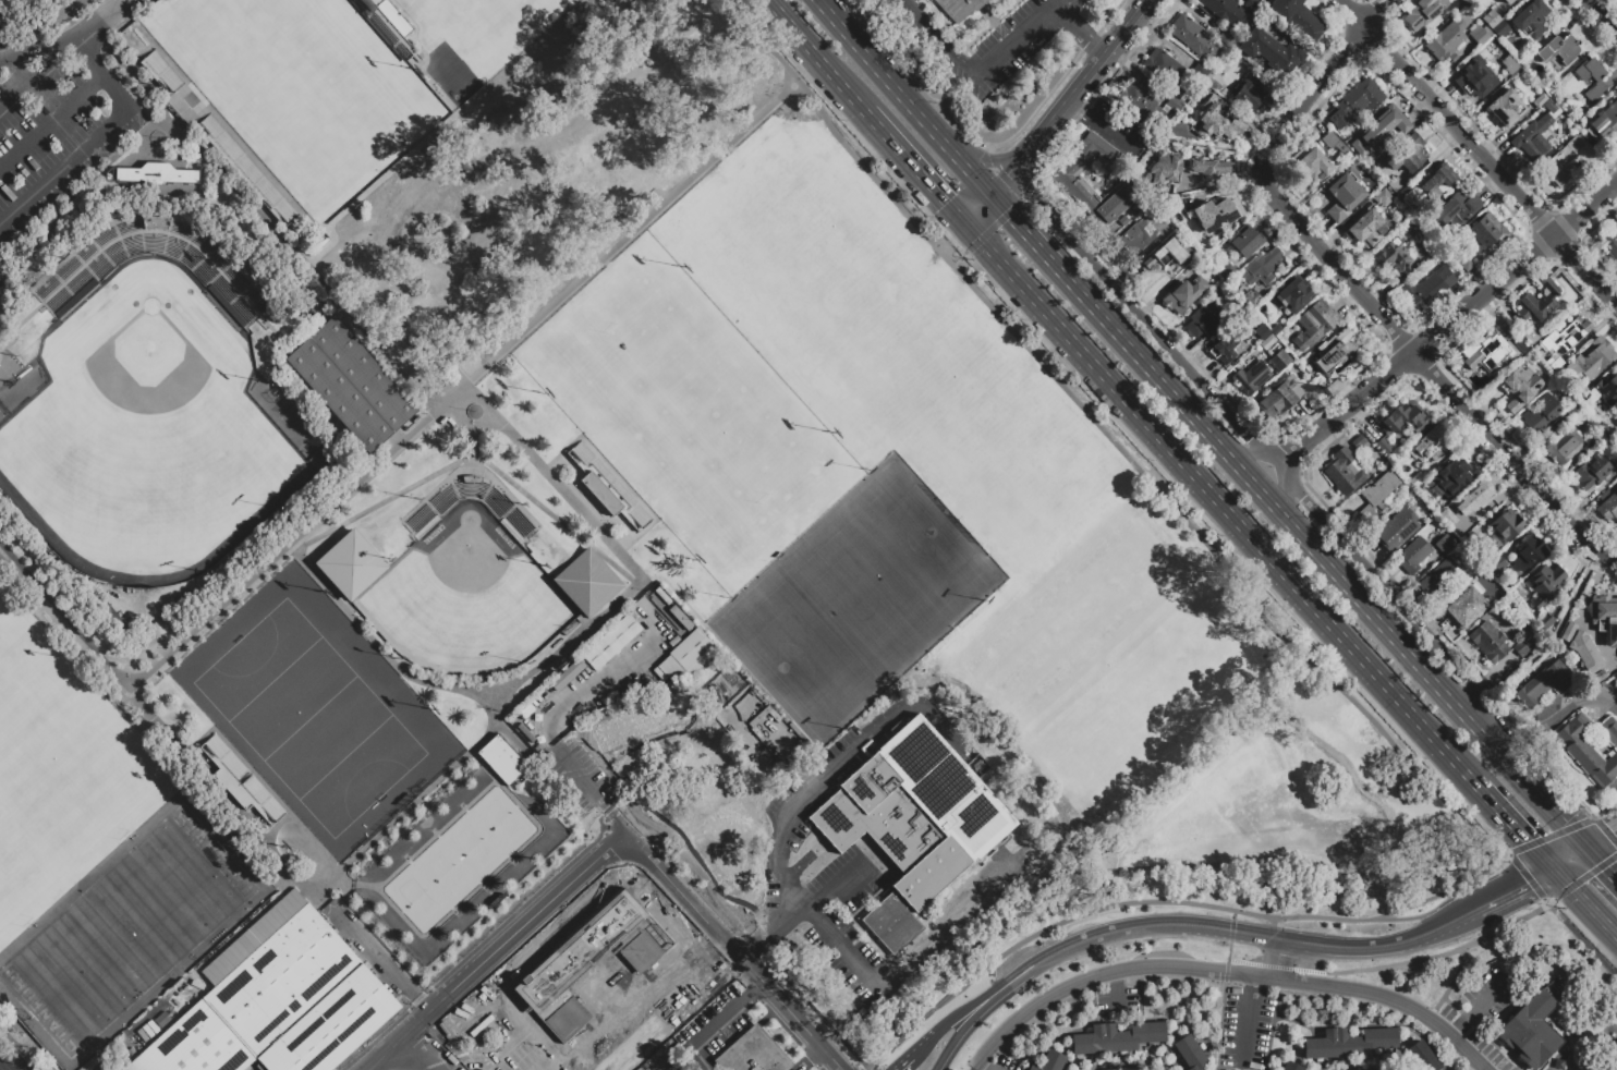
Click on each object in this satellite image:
road: (1056, 0)
building: (1506, 1)
building: (1252, 7)
building: (959, 9)
building: (1224, 11)
building: (1422, 12)
road: (1374, 13)
road: (1601, 16)
building: (1298, 17)
building: (1264, 19)
building: (1530, 19)
park: (508, 20)
road: (101, 23)
building: (1495, 23)
road: (1079, 26)
building: (386, 27)
building: (1480, 35)
building: (1192, 36)
building: (1447, 37)
road: (940, 38)
road: (1017, 39)
building: (1558, 49)
road: (37, 50)
building: (1269, 51)
road: (814, 57)
building: (1452, 57)
road: (1336, 63)
building: (1509, 64)
building: (1166, 69)
building: (1200, 70)
road: (1083, 74)
road: (883, 75)
road: (38, 78)
road: (102, 78)
building: (1476, 78)
building: (1596, 81)
park: (297, 84)
building: (1249, 93)
stadium: (291, 95)
building: (1539, 100)
building: (1354, 101)
building: (1146, 104)
building: (1549, 106)
building: (1505, 108)
building: (1604, 120)
building: (1216, 121)
road: (51, 123)
road: (1097, 124)
road: (1284, 129)
building: (1389, 130)
parking lot: (50, 136)
building: (1532, 136)
road: (1159, 139)
building: (1354, 139)
building: (1333, 142)
road: (1479, 153)
building: (1408, 154)
road: (1021, 155)
road: (983, 158)
building: (1563, 162)
building: (1312, 163)
road: (1013, 165)
road: (913, 168)
building: (1166, 168)
building: (1207, 168)
road: (64, 169)
road: (970, 172)
traffic signals: (1007, 173)
building: (157, 179)
road: (1000, 181)
road: (1020, 181)
building: (1436, 181)
building: (1396, 184)
building: (1078, 187)
building: (1403, 194)
building: (1344, 196)
building: (1383, 197)
road: (252, 203)
traffic signals: (945, 204)
road: (976, 208)
road: (1285, 209)
building: (1456, 209)
building: (1217, 214)
traffic signals: (1011, 216)
building: (1153, 216)
building: (1122, 221)
building: (1401, 221)
building: (1366, 227)
road: (1022, 229)
road: (949, 234)
building: (1486, 234)
building: (1134, 236)
building: (1248, 241)
building: (1610, 241)
building: (1426, 247)
building: (1166, 254)
building: (1393, 255)
building: (1464, 263)
building: (1262, 267)
building: (1229, 272)
building: (74, 282)
building: (1, 285)
building: (1428, 288)
building: (1293, 294)
building: (1182, 296)
building: (1251, 297)
building: (1539, 302)
road: (1369, 303)
road: (1140, 315)
building: (1204, 319)
building: (1314, 324)
road: (1447, 324)
building: (1275, 328)
building: (1262, 330)
building: (1530, 336)
building: (1566, 336)
building: (1230, 339)
building: (1267, 341)
building: (1520, 344)
building: (1334, 350)
building: (1488, 352)
building: (1592, 358)
building: (1279, 360)
building: (1553, 362)
building: (435, 366)
building: (1250, 377)
road: (470, 384)
building: (353, 386)
building: (1520, 387)
building: (1607, 389)
building: (1279, 397)
stadium: (148, 401)
building: (1573, 411)
park: (689, 412)
building: (1540, 414)
building: (1602, 417)
stadium: (681, 418)
building: (1406, 418)
building: (1581, 418)
building: (1616, 421)
park: (148, 423)
road: (469, 424)
building: (1596, 435)
road: (1109, 436)
building: (1360, 441)
road: (475, 442)
building: (1383, 446)
building: (1427, 446)
building: (1564, 446)
road: (1169, 449)
road: (1506, 455)
road: (1252, 457)
building: (1371, 459)
building: (1616, 461)
road: (1279, 464)
building: (1345, 471)
building: (1591, 471)
building: (1454, 476)
building: (1415, 479)
park: (994, 481)
building: (607, 487)
road: (1260, 487)
road: (1280, 488)
building: (1603, 494)
building: (1375, 496)
building: (1474, 497)
building: (1391, 502)
building: (1608, 507)
building: (428, 515)
building: (1448, 516)
building: (1507, 524)
building: (1396, 528)
road: (584, 540)
building: (1471, 543)
building: (1445, 544)
road: (3, 547)
building: (1528, 552)
road: (3, 554)
building: (1412, 555)
road: (1610, 556)
building: (1495, 564)
building: (1439, 577)
building: (1544, 584)
stadium: (466, 586)
road: (1386, 589)
building: (662, 595)
park: (466, 597)
park: (856, 599)
building: (1466, 606)
building: (681, 618)
building: (1605, 618)
building: (113, 621)
road: (69, 622)
building: (1546, 623)
building: (1568, 631)
road: (1557, 633)
building: (611, 641)
building: (1495, 642)
building: (1585, 652)
building: (686, 657)
building: (567, 674)
building: (1598, 674)
building: (1546, 684)
road: (581, 685)
road: (466, 692)
road: (1466, 696)
road: (1577, 703)
building: (526, 713)
park: (306, 717)
building: (641, 721)
road: (1423, 725)
road: (1528, 744)
building: (1590, 747)
park: (61, 753)
building: (501, 758)
road: (1513, 766)
building: (239, 779)
road: (824, 782)
road: (598, 791)
road: (408, 807)
building: (916, 815)
park: (500, 820)
road: (1510, 822)
traffic signals: (1612, 831)
road: (1575, 834)
road: (1602, 837)
traffic signals: (1528, 840)
building: (725, 844)
park: (472, 846)
road: (645, 848)
stadium: (455, 856)
road: (276, 858)
road: (1570, 858)
road: (1601, 862)
road: (795, 867)
traffic signals: (1606, 867)
park: (22, 870)
park: (445, 872)
road: (1524, 874)
road: (1542, 874)
road: (666, 878)
traffic signals: (1527, 884)
road: (836, 885)
park: (416, 898)
road: (1495, 899)
road: (1130, 902)
road: (1584, 902)
road: (1232, 914)
road: (703, 919)
road: (782, 919)
road: (1450, 921)
road: (1156, 925)
building: (893, 926)
road: (1230, 929)
park: (127, 934)
road: (1579, 935)
road: (1269, 940)
road: (1364, 946)
building: (642, 947)
road: (502, 948)
building: (577, 949)
road: (842, 951)
road: (1228, 952)
road: (1442, 956)
road: (1231, 959)
road: (1281, 959)
road: (1251, 962)
road: (1294, 968)
road: (1225, 972)
road: (1253, 976)
road: (1090, 980)
road: (985, 994)
road: (1117, 994)
road: (1394, 999)
parking lot: (1118, 1002)
road: (1478, 1006)
road: (1436, 1007)
building: (280, 1009)
road: (786, 1009)
parking lot: (1483, 1009)
road: (978, 1012)
road: (1462, 1013)
building: (865, 1016)
building: (563, 1017)
road: (1245, 1022)
road: (716, 1024)
parking lot: (1247, 1025)
building: (1529, 1031)
building: (1115, 1037)
building: (1347, 1042)
road: (443, 1045)
building: (634, 1045)
road: (916, 1048)
building: (1190, 1051)
building: (754, 1055)
building: (1422, 1056)
road: (811, 1059)
building: (1049, 1061)
parking lot: (1005, 1063)
road: (1126, 1065)
building: (1290, 1066)
road: (547, 1067)
road: (862, 1067)
road: (868, 1067)
road: (975, 1067)
road: (983, 1067)
road: (1351, 1068)
road: (1249, 1069)

